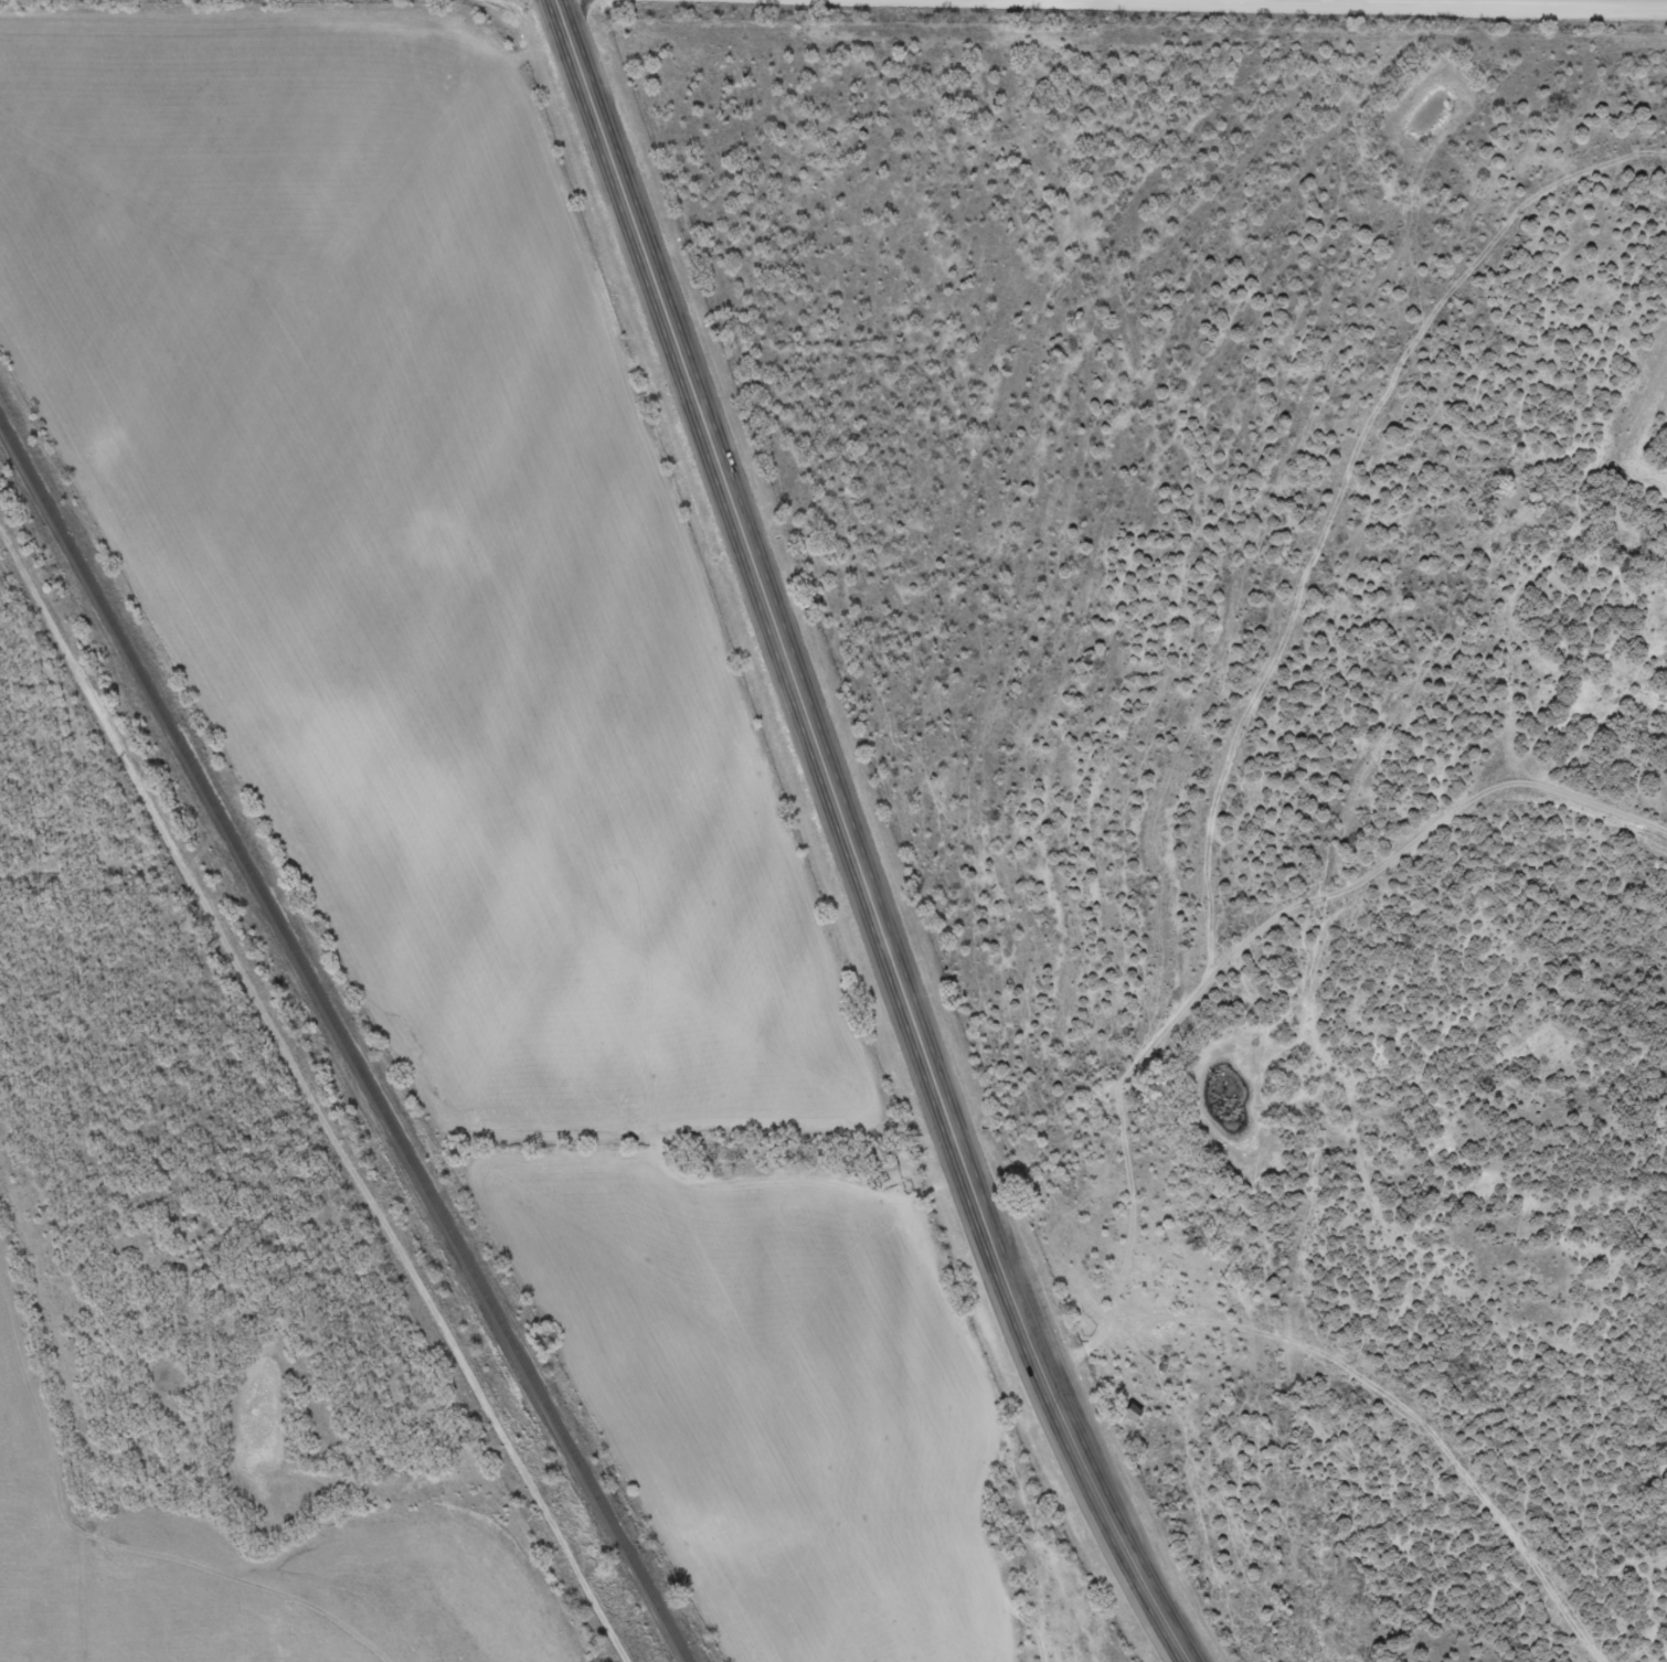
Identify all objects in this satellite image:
road: (849, 840)
road: (1306, 910)
railway: (343, 1045)
road: (253, 1164)
building: (882, 1164)
building: (1130, 1413)

